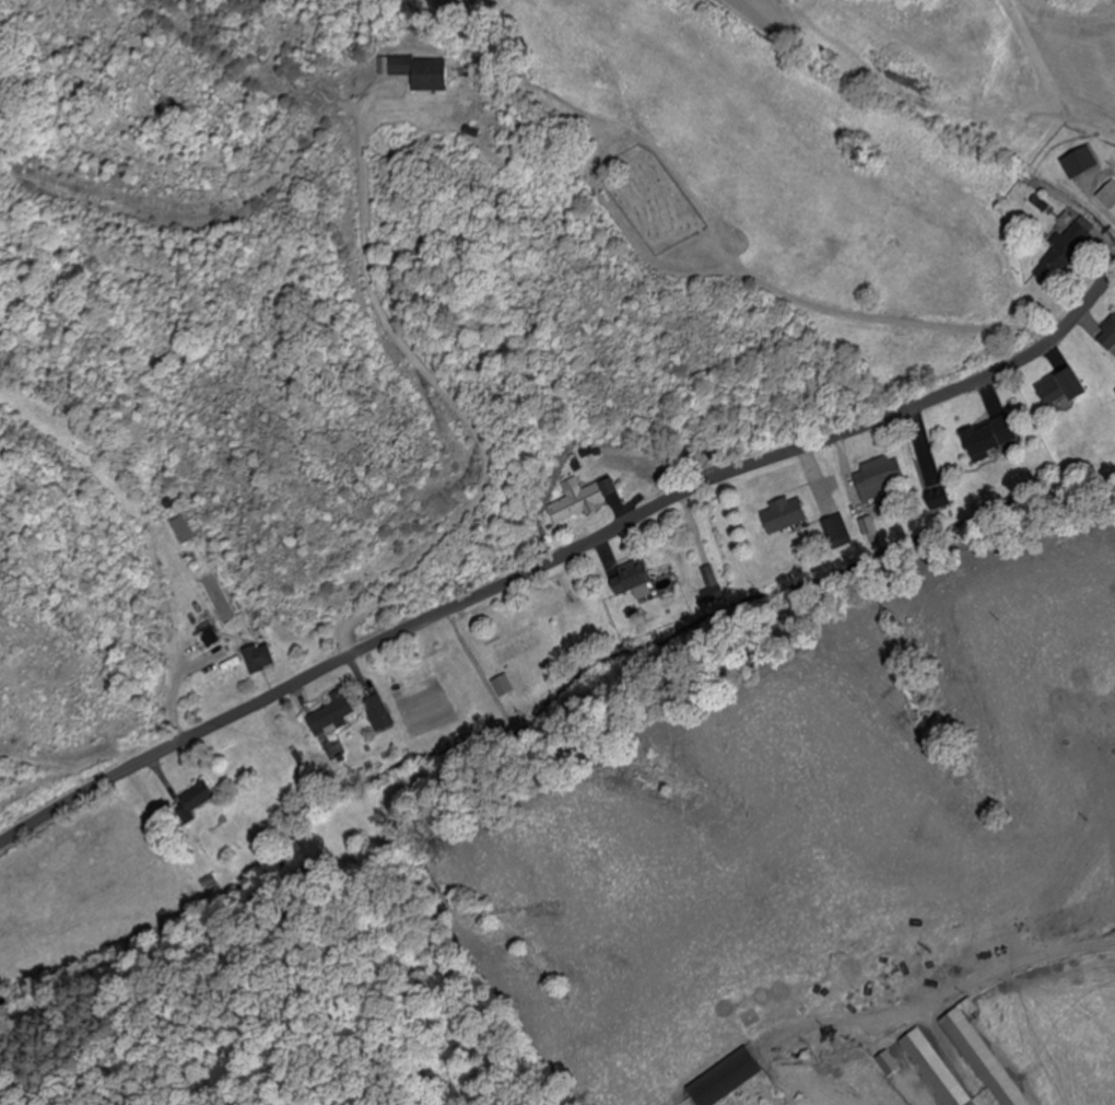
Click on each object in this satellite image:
building: (421, 73)
building: (1079, 164)
park: (650, 199)
building: (1066, 249)
road: (875, 317)
building: (1111, 330)
building: (1061, 389)
building: (989, 440)
building: (878, 480)
building: (576, 507)
building: (784, 517)
building: (180, 532)
building: (837, 534)
road: (564, 557)
building: (639, 584)
building: (208, 636)
building: (515, 647)
building: (259, 660)
building: (377, 714)
building: (331, 718)
building: (196, 802)
road: (1001, 977)
building: (984, 1057)
building: (888, 1066)
building: (934, 1070)
building: (727, 1080)

